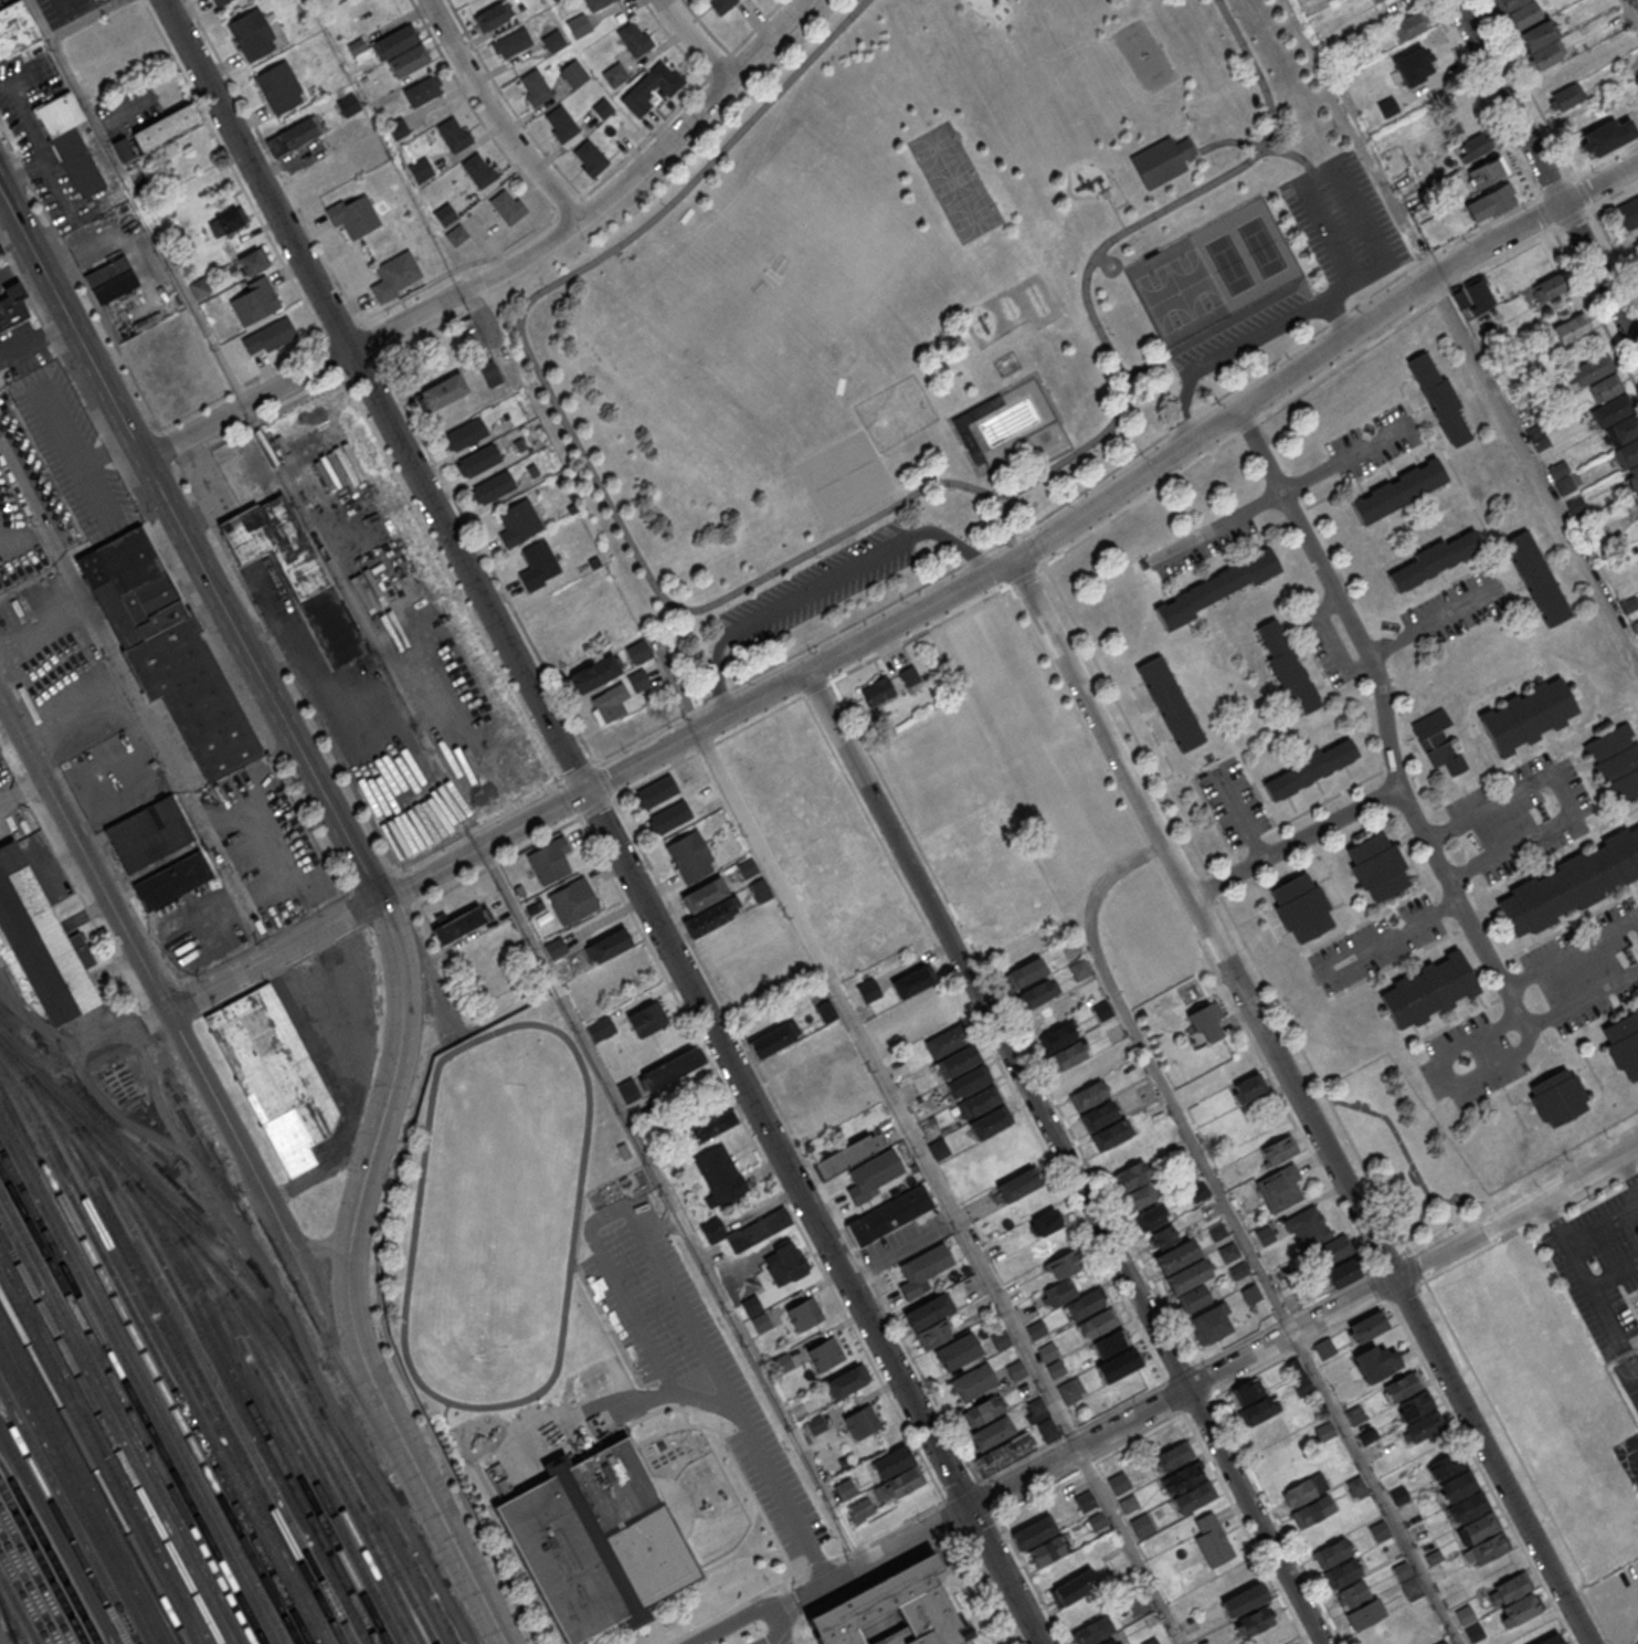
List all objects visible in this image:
building: (339, 0)
building: (553, 0)
building: (1376, 1)
building: (218, 2)
building: (595, 3)
building: (1511, 3)
building: (721, 4)
parking lot: (65, 10)
road: (1630, 13)
building: (1522, 15)
building: (493, 17)
road: (88, 20)
building: (13, 25)
building: (579, 25)
building: (1409, 25)
road: (1444, 27)
building: (251, 33)
building: (1537, 34)
building: (633, 38)
building: (553, 40)
road: (693, 41)
building: (511, 42)
building: (392, 43)
building: (1547, 55)
building: (406, 61)
building: (573, 73)
building: (614, 74)
building: (278, 86)
building: (653, 86)
building: (535, 87)
building: (422, 89)
building: (1566, 98)
building: (348, 105)
building: (602, 107)
road: (494, 115)
building: (560, 123)
building: (163, 128)
building: (397, 128)
building: (454, 134)
building: (68, 144)
park: (936, 146)
road: (1257, 147)
building: (1472, 148)
building: (121, 149)
building: (1186, 149)
building: (589, 157)
building: (1159, 164)
building: (420, 169)
building: (478, 170)
road: (1545, 172)
building: (1486, 173)
park: (954, 180)
road: (1344, 188)
road: (1615, 193)
road: (1122, 197)
road: (138, 202)
building: (1488, 204)
building: (507, 205)
road: (1113, 212)
building: (444, 213)
building: (1629, 213)
park: (972, 214)
building: (353, 215)
building: (225, 222)
road: (1401, 223)
building: (456, 234)
park: (1260, 245)
road: (1615, 250)
building: (253, 261)
park: (1228, 263)
road: (17, 264)
road: (501, 268)
parking lot: (1359, 270)
building: (394, 274)
building: (110, 278)
park: (1194, 281)
building: (1545, 289)
park: (930, 296)
park: (1164, 297)
building: (1475, 297)
building: (254, 302)
building: (11, 306)
building: (1571, 330)
building: (270, 335)
road: (34, 341)
road: (1239, 342)
building: (1007, 366)
building: (443, 391)
building: (1438, 398)
building: (1609, 411)
road: (66, 423)
building: (464, 434)
building: (970, 443)
road: (1216, 449)
building: (478, 460)
park: (858, 465)
parking lot: (39, 472)
road: (1534, 472)
park: (825, 483)
building: (493, 486)
road: (1281, 489)
building: (1398, 489)
building: (1636, 494)
building: (518, 521)
parking lot: (17, 540)
road: (189, 546)
building: (1434, 559)
building: (538, 565)
road: (778, 569)
building: (295, 572)
building: (1535, 577)
road: (823, 582)
parking lot: (821, 583)
building: (1215, 587)
parking lot: (402, 609)
road: (918, 611)
road: (1431, 622)
road: (363, 626)
building: (167, 650)
building: (637, 652)
building: (1287, 665)
building: (593, 673)
building: (910, 678)
building: (637, 681)
building: (877, 691)
road: (139, 702)
parking lot: (75, 703)
building: (609, 703)
building: (1170, 703)
building: (1528, 715)
road: (1385, 717)
parking lot: (362, 727)
building: (612, 737)
building: (1438, 744)
building: (1616, 759)
building: (1310, 768)
building: (656, 790)
road: (1561, 791)
parking lot: (1233, 800)
road: (1240, 813)
building: (670, 815)
road: (601, 822)
building: (149, 833)
road: (1297, 837)
building: (689, 855)
building: (550, 862)
building: (1377, 865)
building: (747, 867)
building: (172, 883)
building: (1571, 883)
building: (760, 889)
building: (705, 894)
building: (573, 902)
building: (1300, 906)
building: (710, 916)
building: (461, 924)
road: (1391, 937)
building: (40, 940)
parking lot: (1376, 944)
building: (607, 945)
road: (1573, 952)
road: (324, 966)
building: (1079, 969)
building: (1025, 972)
road: (149, 977)
building: (911, 981)
building: (1429, 989)
building: (867, 990)
building: (1036, 993)
building: (1102, 1010)
building: (826, 1011)
building: (645, 1019)
building: (1207, 1020)
railway: (4, 1023)
building: (601, 1029)
building: (1057, 1036)
building: (771, 1040)
building: (945, 1040)
building: (1624, 1044)
road: (75, 1046)
building: (1070, 1053)
building: (957, 1061)
road: (1498, 1064)
building: (673, 1067)
building: (274, 1074)
building: (801, 1076)
building: (968, 1081)
building: (1248, 1087)
road: (347, 1089)
building: (628, 1090)
building: (1087, 1095)
building: (1556, 1097)
building: (976, 1102)
road: (1301, 1102)
building: (1099, 1115)
building: (987, 1123)
building: (711, 1124)
building: (1112, 1134)
road: (374, 1137)
road: (915, 1138)
building: (938, 1148)
building: (1280, 1149)
park: (1405, 1149)
road: (1064, 1158)
road: (1054, 1169)
building: (873, 1173)
building: (719, 1174)
building: (1130, 1174)
railway: (171, 1181)
building: (1017, 1184)
building: (1280, 1187)
building: (1140, 1195)
road: (674, 1204)
railway: (159, 1205)
building: (888, 1214)
building: (1149, 1216)
track: (497, 1218)
building: (1045, 1222)
road: (1604, 1226)
building: (1307, 1227)
building: (760, 1230)
building: (712, 1231)
road: (1244, 1232)
building: (1165, 1235)
road: (313, 1245)
road: (901, 1248)
building: (1176, 1255)
building: (1068, 1263)
building: (786, 1265)
building: (922, 1268)
road: (1585, 1274)
road: (1615, 1274)
building: (1187, 1275)
building: (1343, 1275)
building: (1060, 1292)
building: (1194, 1299)
railway: (263, 1301)
road: (672, 1301)
building: (1085, 1305)
building: (751, 1306)
building: (928, 1310)
building: (803, 1313)
road: (324, 1319)
building: (760, 1322)
building: (1096, 1324)
building: (1209, 1324)
building: (1367, 1328)
building: (1035, 1329)
building: (934, 1334)
railway: (180, 1339)
building: (1001, 1339)
building: (1112, 1342)
railway: (163, 1349)
building: (1325, 1349)
building: (958, 1350)
railway: (210, 1351)
building: (1047, 1351)
building: (824, 1352)
railway: (155, 1353)
railway: (180, 1360)
building: (1378, 1363)
railway: (149, 1364)
building: (1119, 1364)
building: (1056, 1369)
building: (1016, 1370)
railway: (142, 1376)
railway: (245, 1377)
park: (1629, 1378)
building: (845, 1381)
building: (974, 1381)
railway: (215, 1384)
building: (1302, 1384)
railway: (138, 1385)
building: (1068, 1391)
building: (1408, 1395)
railway: (131, 1397)
road: (1164, 1401)
building: (1254, 1403)
railway: (285, 1404)
railway: (126, 1406)
building: (1036, 1410)
railway: (252, 1411)
building: (980, 1412)
building: (1355, 1414)
railway: (120, 1418)
building: (860, 1421)
building: (815, 1423)
building: (1424, 1426)
railway: (115, 1429)
building: (1048, 1429)
building: (1324, 1431)
railway: (321, 1432)
building: (991, 1432)
railway: (292, 1438)
railway: (109, 1440)
road: (1635, 1445)
railway: (104, 1448)
building: (1173, 1457)
railway: (98, 1459)
building: (891, 1462)
building: (1445, 1465)
railway: (328, 1466)
railway: (93, 1469)
railway: (86, 1480)
building: (1118, 1484)
building: (1357, 1486)
building: (1187, 1489)
building: (1304, 1489)
railway: (81, 1490)
building: (1399, 1494)
railway: (75, 1501)
building: (1085, 1503)
road: (429, 1510)
building: (1313, 1511)
railway: (68, 1514)
building: (1473, 1519)
railway: (393, 1522)
railway: (63, 1525)
building: (1380, 1530)
railway: (56, 1537)
building: (1212, 1539)
building: (596, 1541)
building: (1038, 1542)
railway: (50, 1552)
building: (1338, 1562)
railway: (42, 1563)
railway: (35, 1575)
building: (1407, 1580)
railway: (30, 1587)
building: (1609, 1587)
building: (1075, 1588)
railway: (24, 1598)
building: (1515, 1599)
building: (1245, 1600)
building: (1359, 1604)
railway: (19, 1609)
building: (891, 1612)
railway: (12, 1619)
building: (1254, 1621)
road: (780, 1622)
railway: (7, 1623)
railway: (12, 1636)
road: (774, 1638)
road: (786, 1638)
building: (1550, 1640)
building: (1110, 1642)

